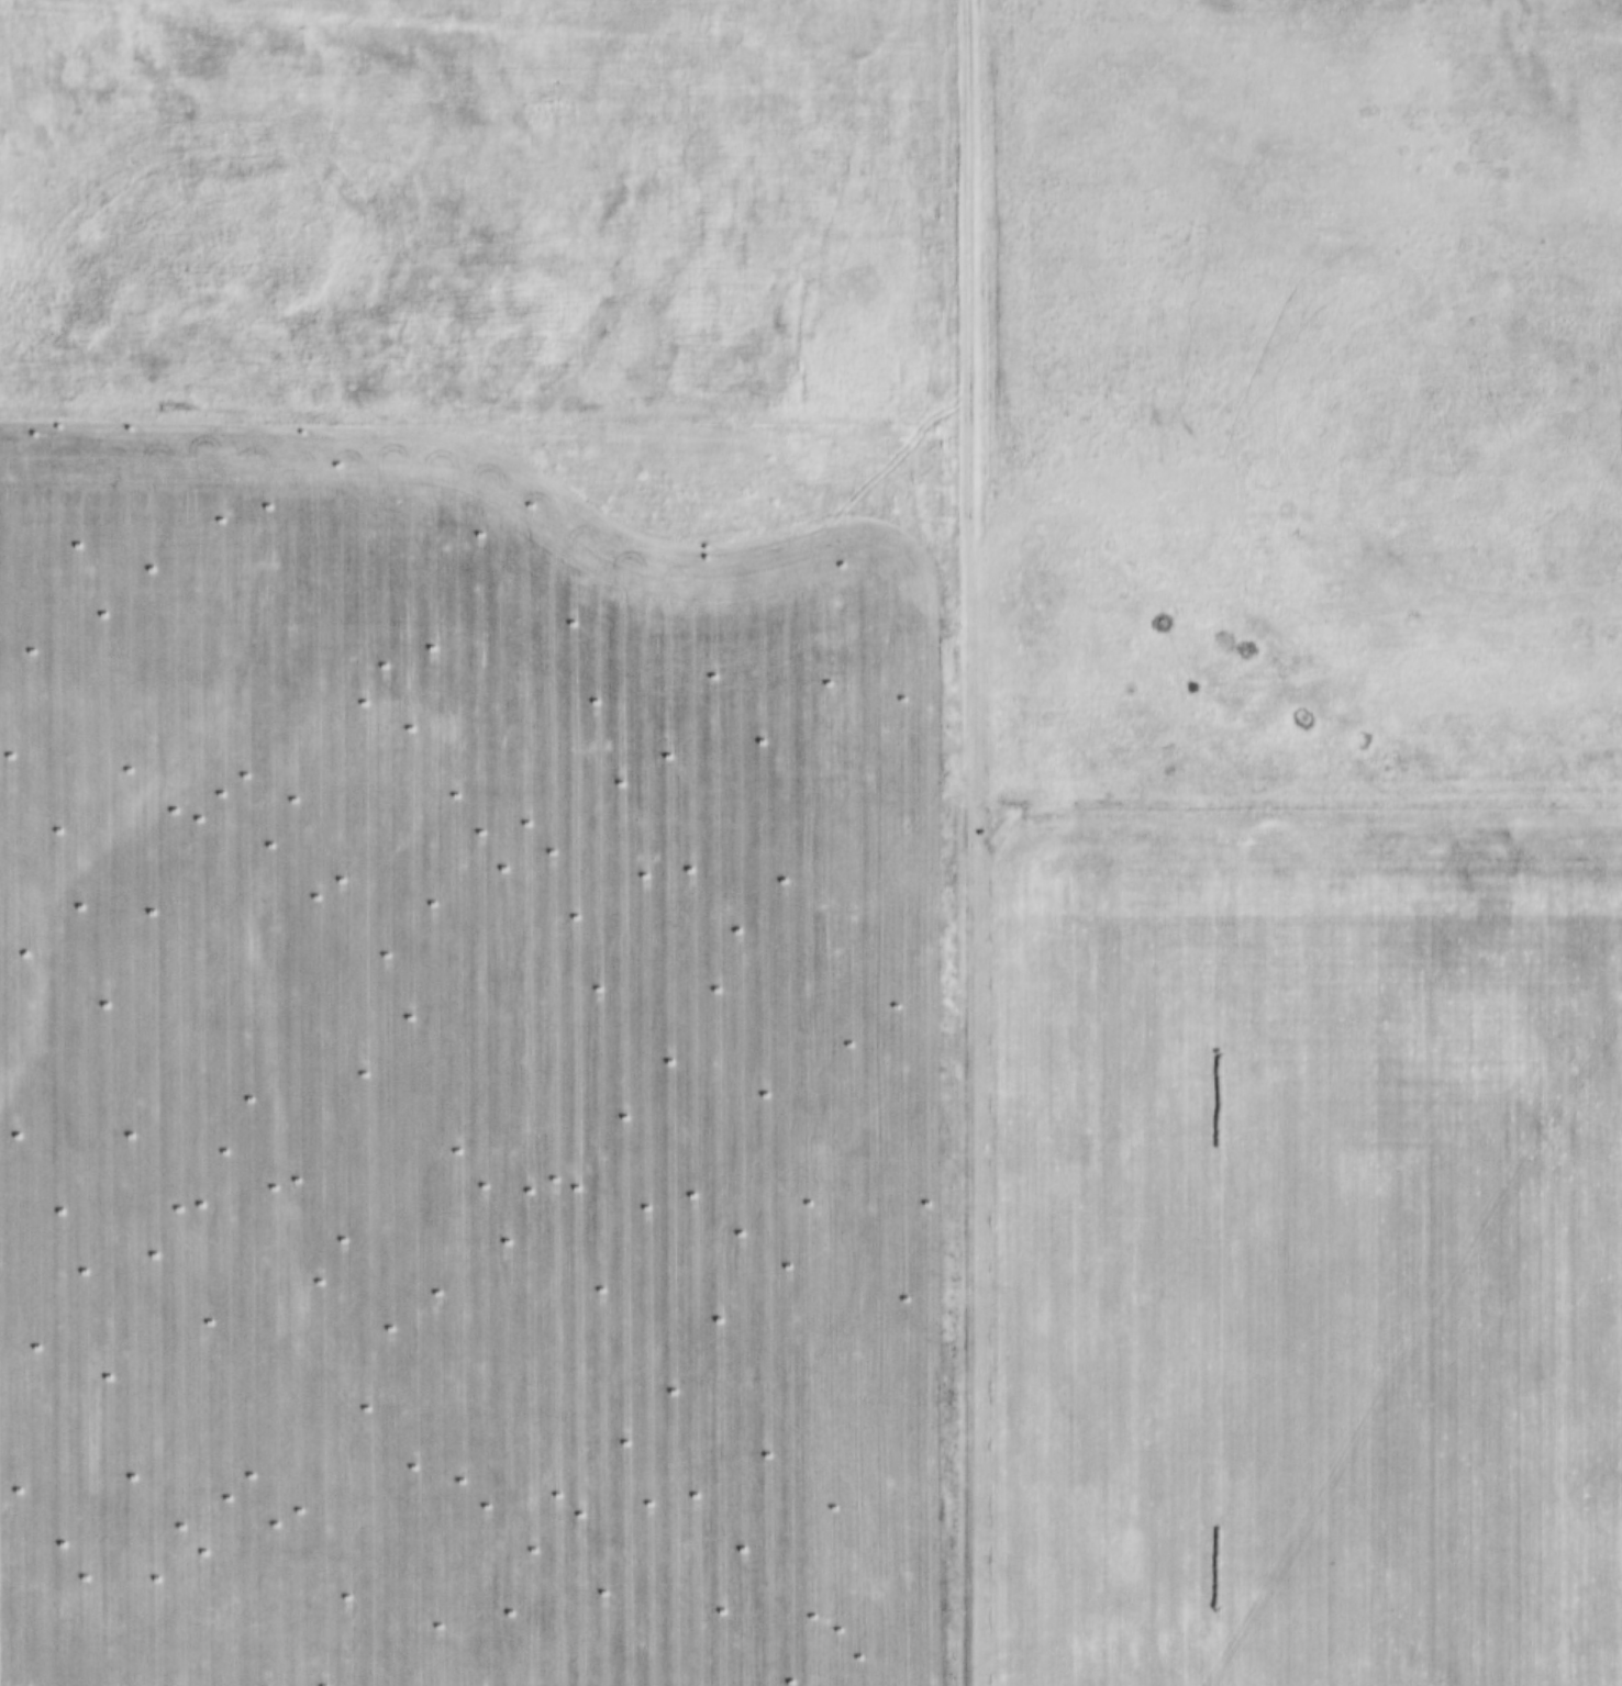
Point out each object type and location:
road: (964, 842)

